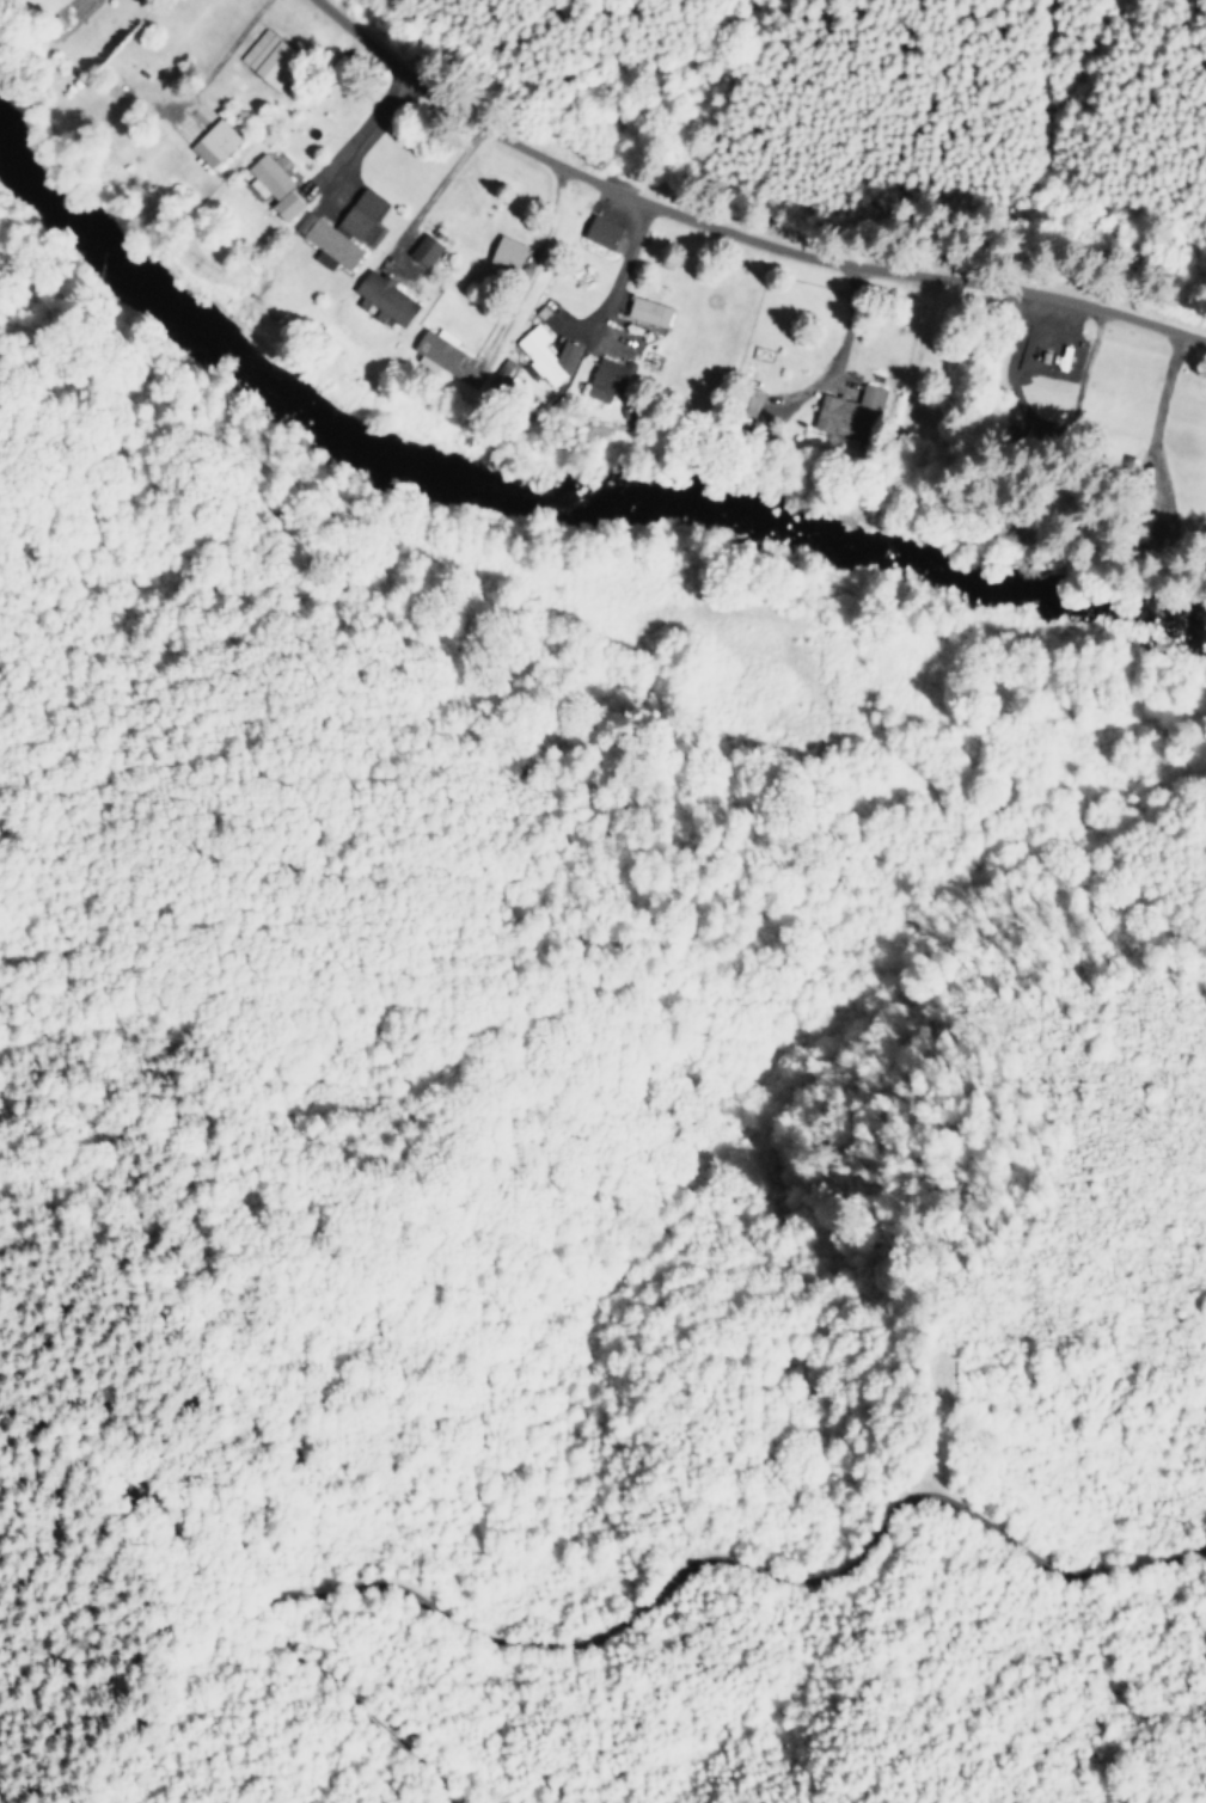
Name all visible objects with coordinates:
building: (263, 59)
road: (204, 80)
road: (359, 127)
road: (377, 136)
building: (210, 142)
building: (269, 186)
road: (433, 198)
building: (339, 232)
building: (598, 232)
road: (740, 234)
building: (421, 251)
building: (503, 252)
road: (533, 266)
road: (622, 269)
building: (381, 298)
building: (644, 311)
building: (545, 355)
building: (443, 356)
road: (838, 356)
building: (500, 369)
road: (1165, 395)
building: (746, 401)
building: (846, 412)
river: (545, 504)
road: (715, 1556)
road: (208, 1626)

